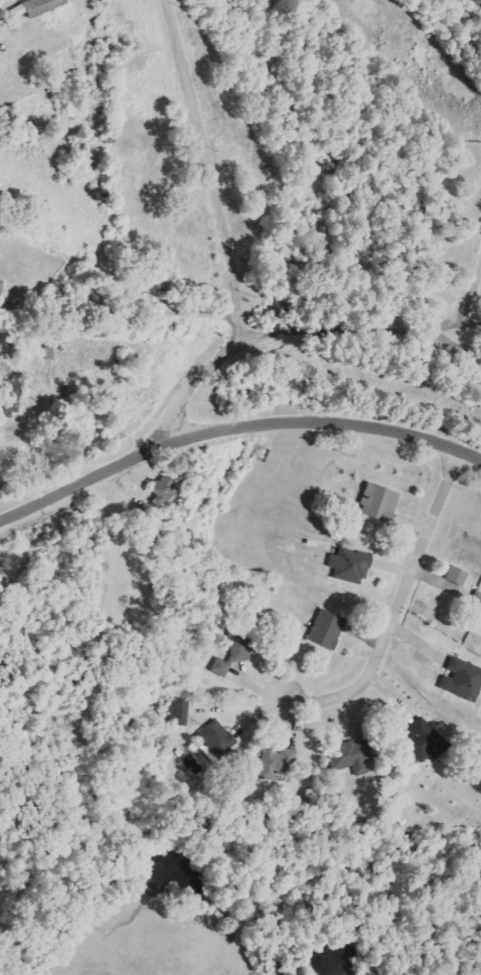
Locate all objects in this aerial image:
building: (40, 6)
building: (14, 12)
building: (0, 283)
road: (127, 308)
road: (292, 330)
road: (455, 344)
road: (234, 428)
building: (163, 490)
building: (376, 503)
building: (347, 566)
road: (405, 608)
building: (475, 610)
building: (323, 630)
building: (227, 661)
building: (460, 680)
building: (177, 712)
building: (422, 740)
building: (348, 756)
building: (274, 762)

